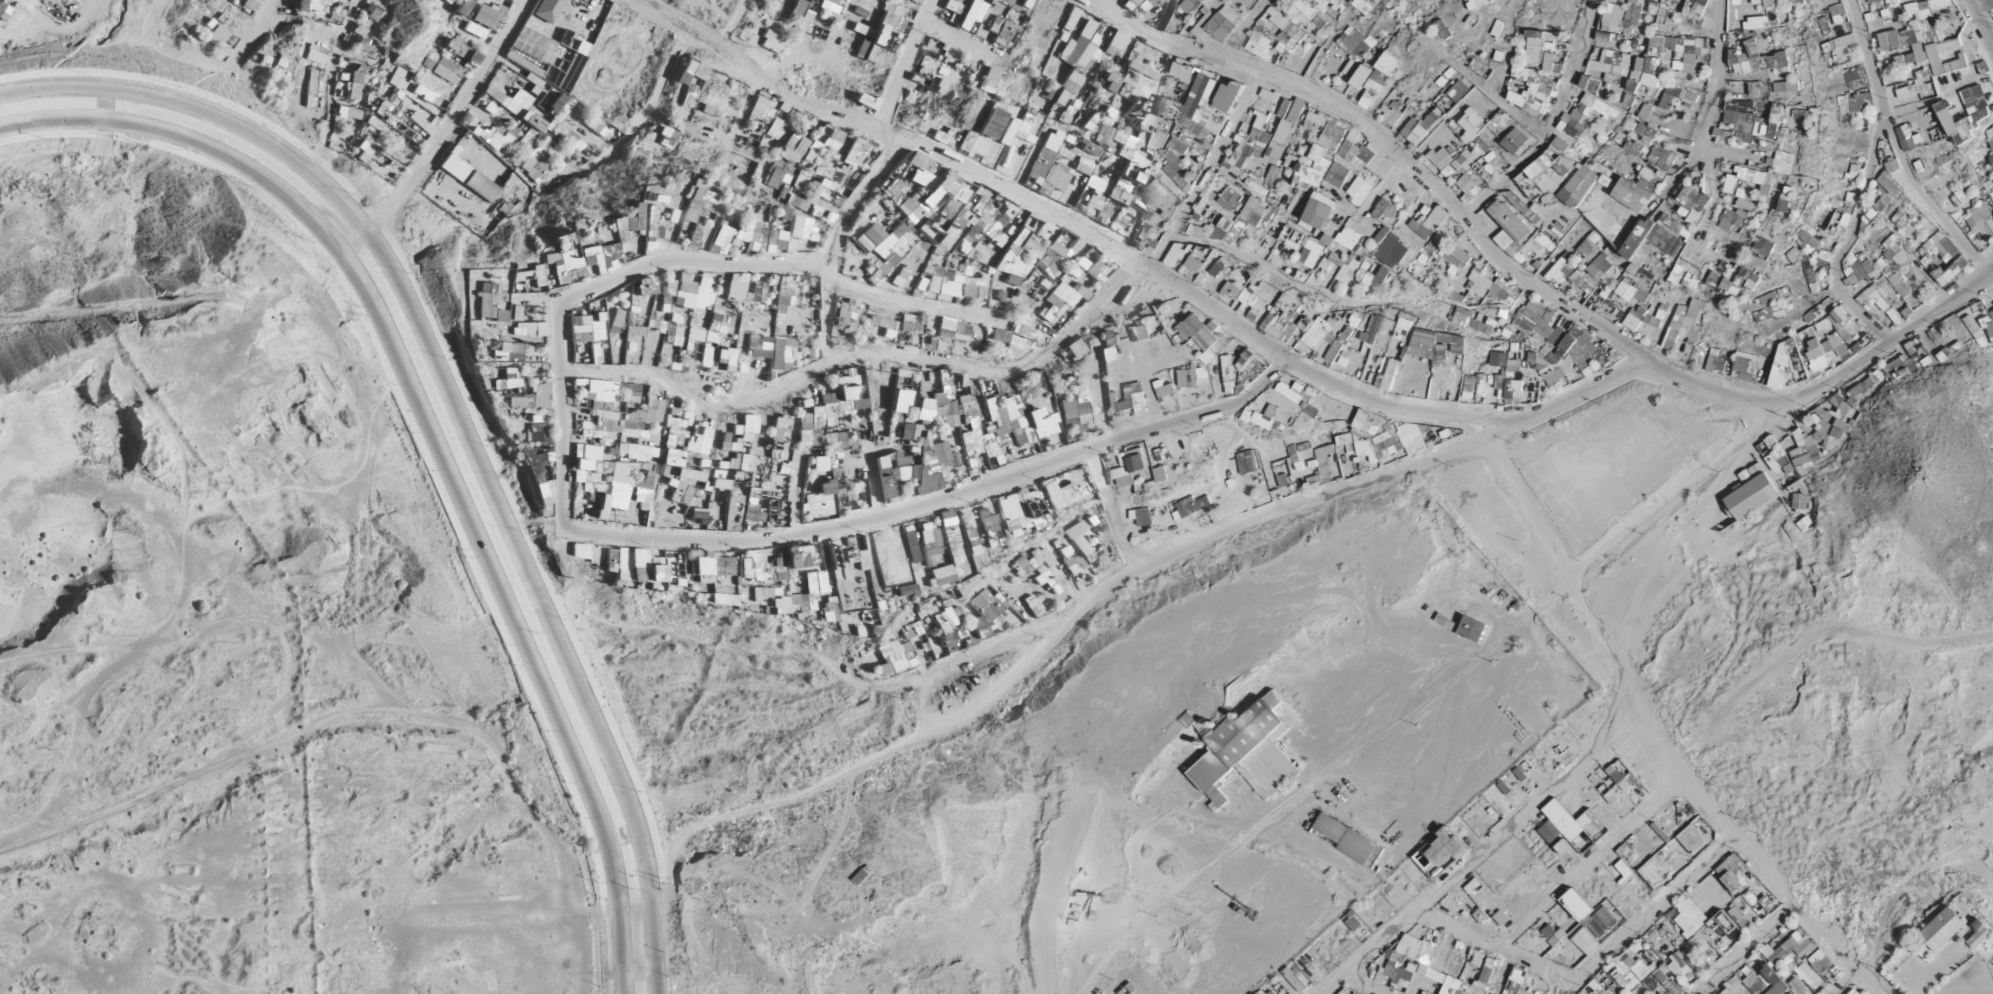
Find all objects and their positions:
road: (1990, 1)

